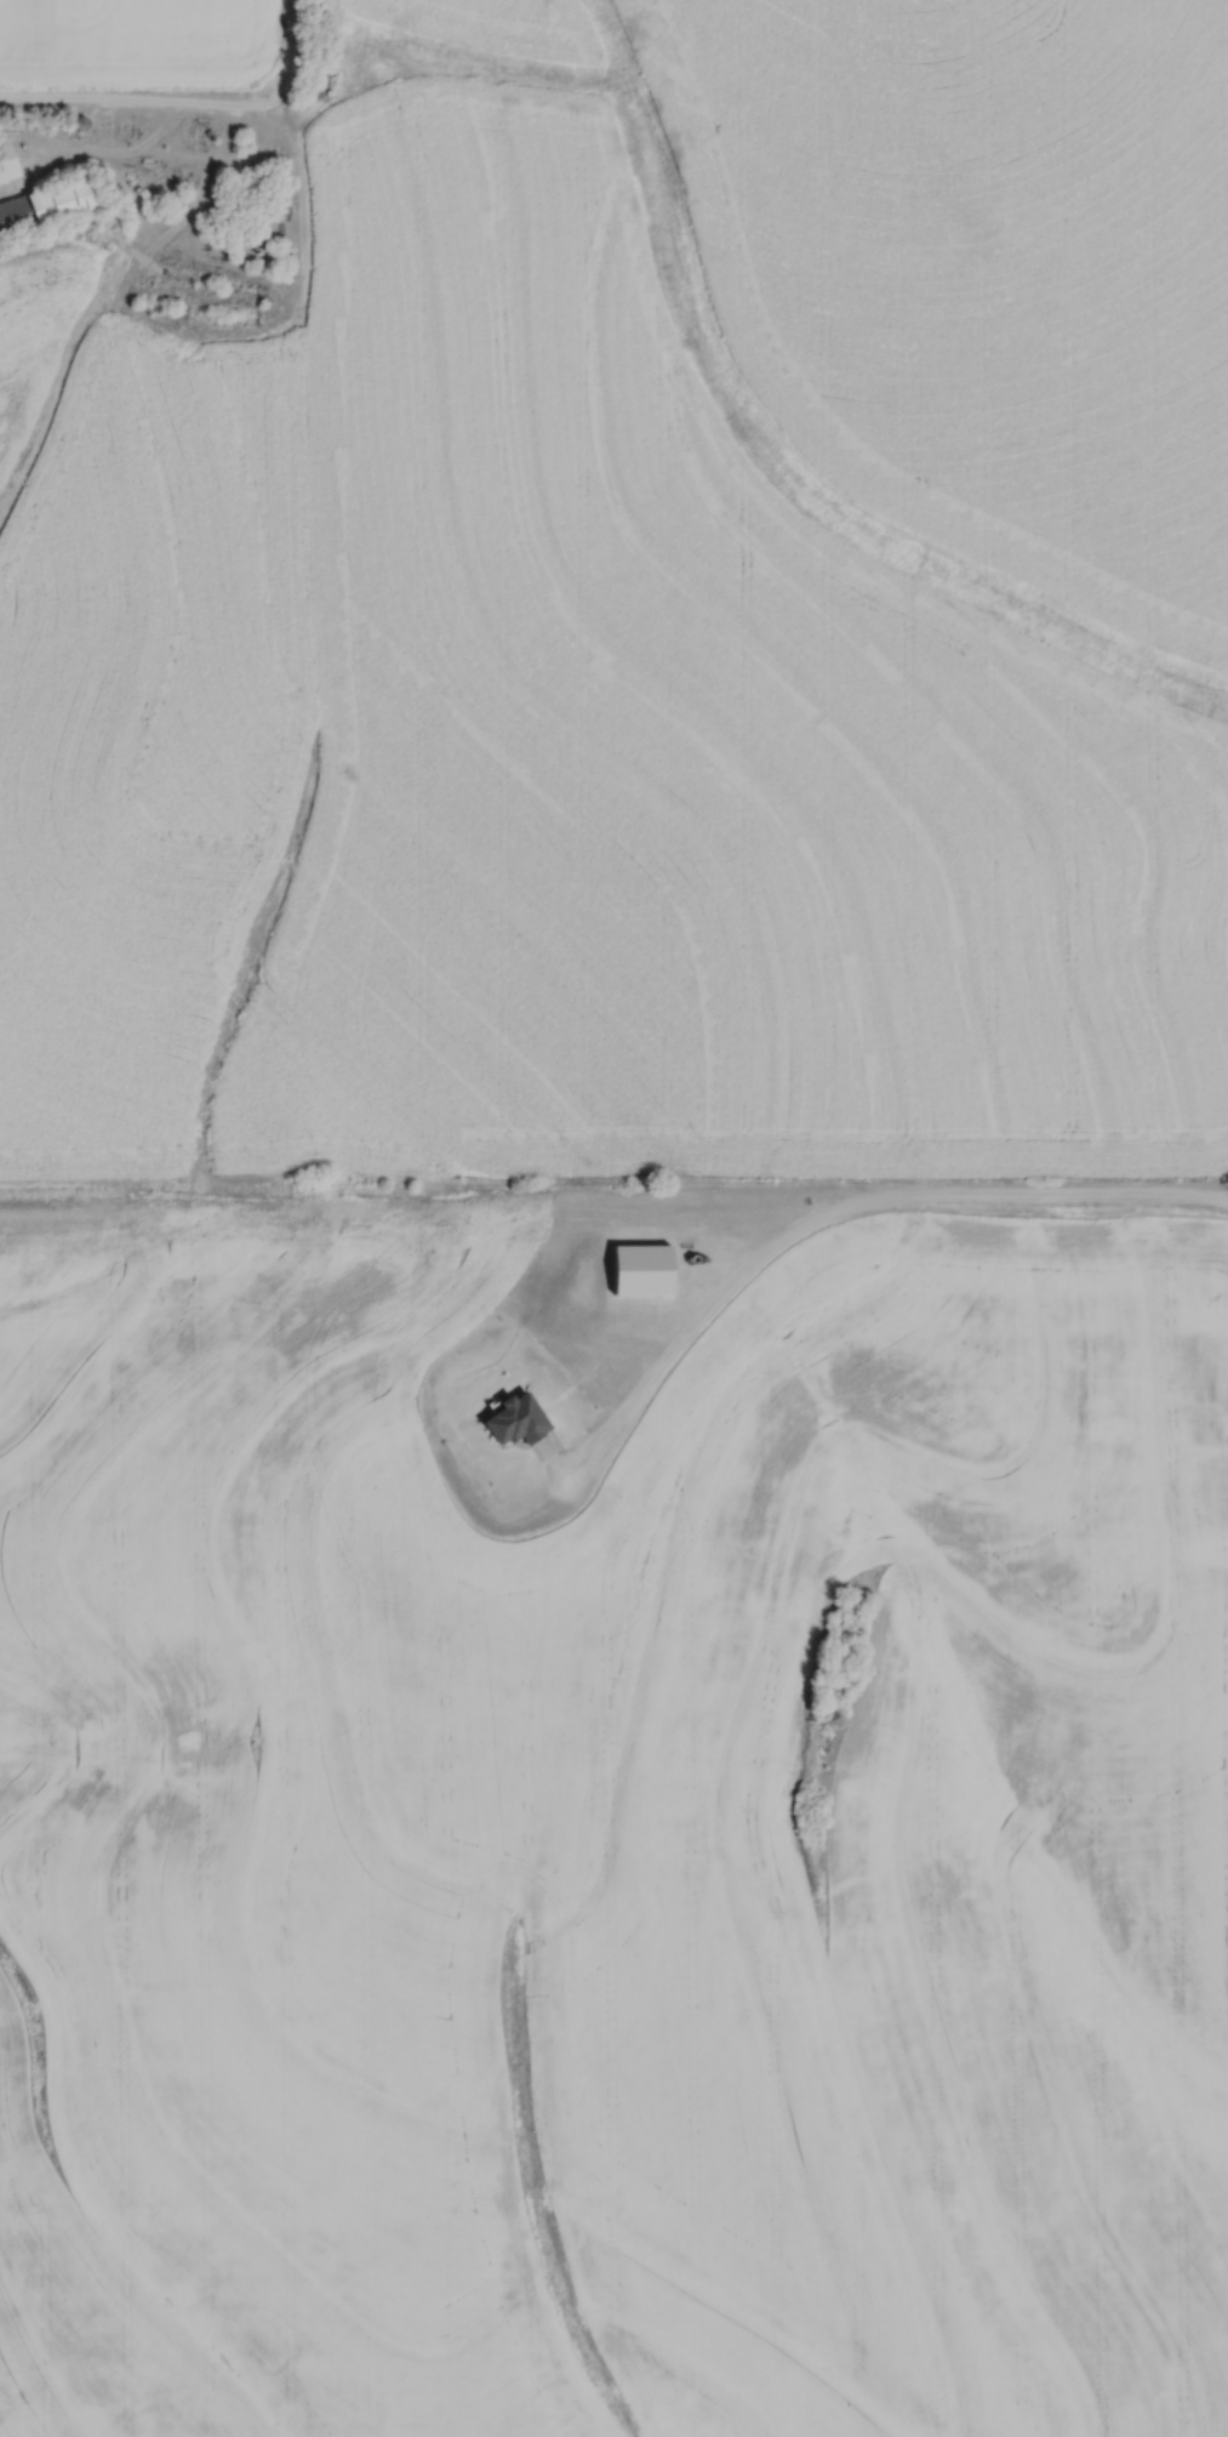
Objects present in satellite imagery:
road: (192, 109)
building: (7, 163)
building: (263, 176)
building: (46, 209)
road: (847, 1205)

